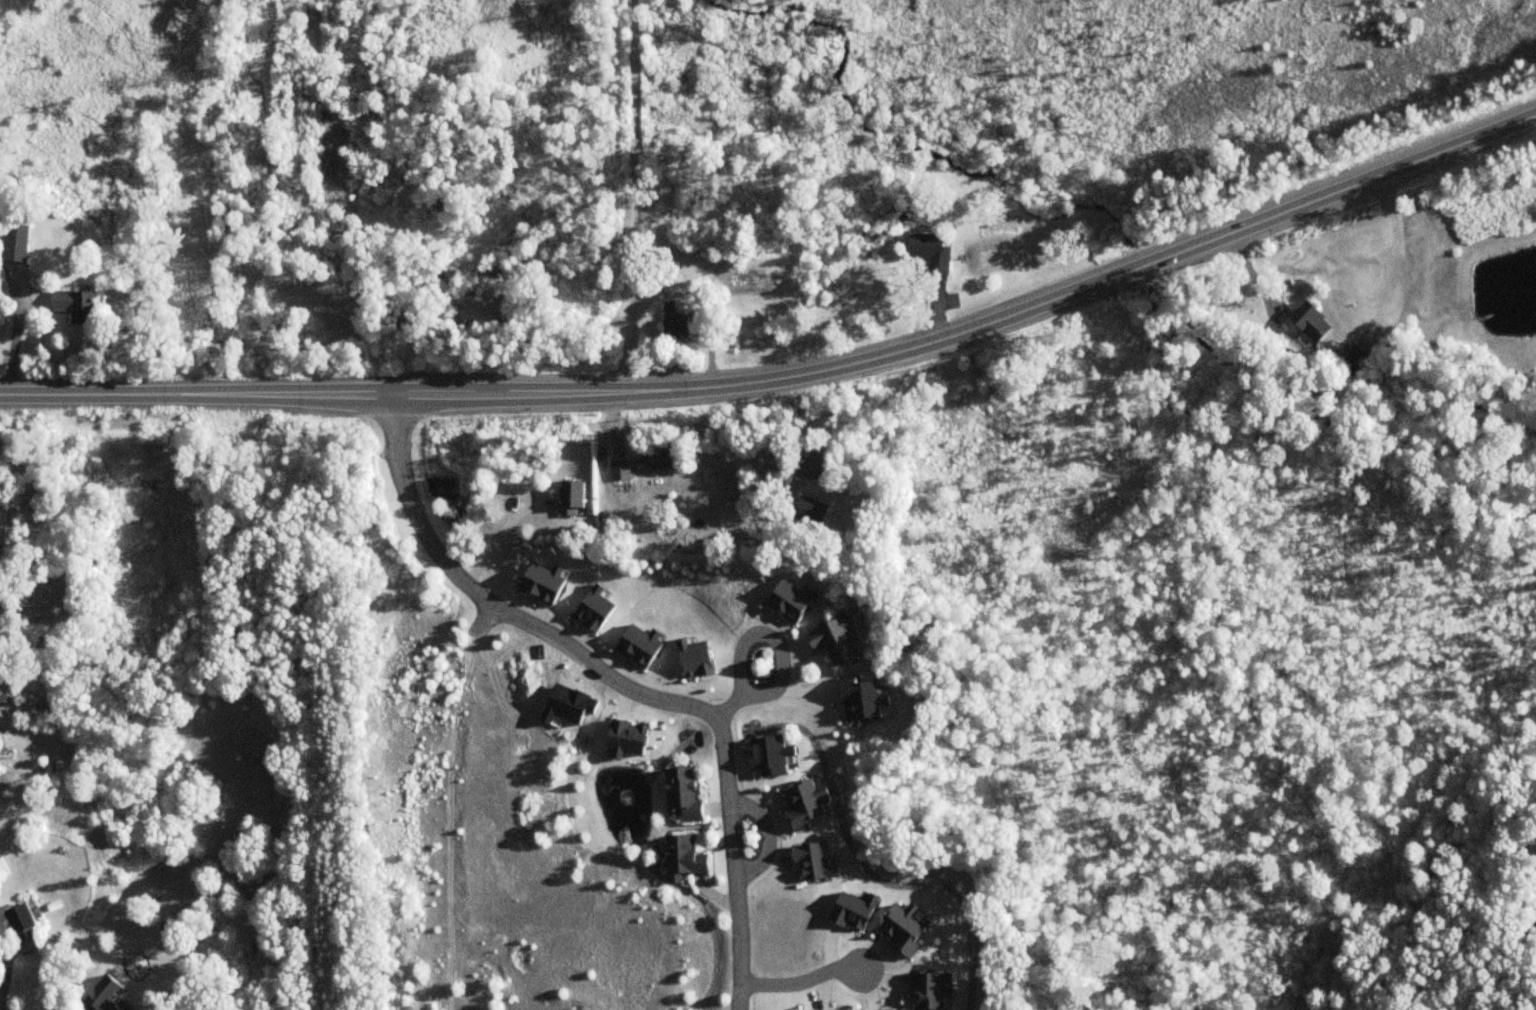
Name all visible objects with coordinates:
road: (634, 196)
building: (15, 244)
building: (930, 253)
building: (72, 306)
road: (706, 306)
building: (1310, 322)
building: (676, 325)
building: (1354, 355)
road: (789, 376)
road: (832, 428)
building: (659, 459)
building: (808, 467)
building: (620, 470)
building: (568, 497)
building: (809, 511)
road: (499, 540)
road: (484, 619)
building: (831, 639)
road: (772, 640)
road: (618, 684)
road: (729, 708)
building: (679, 793)
road: (450, 820)
road: (769, 838)
building: (681, 856)
building: (1535, 860)
building: (21, 928)
road: (4, 974)
road: (802, 982)
building: (101, 995)

